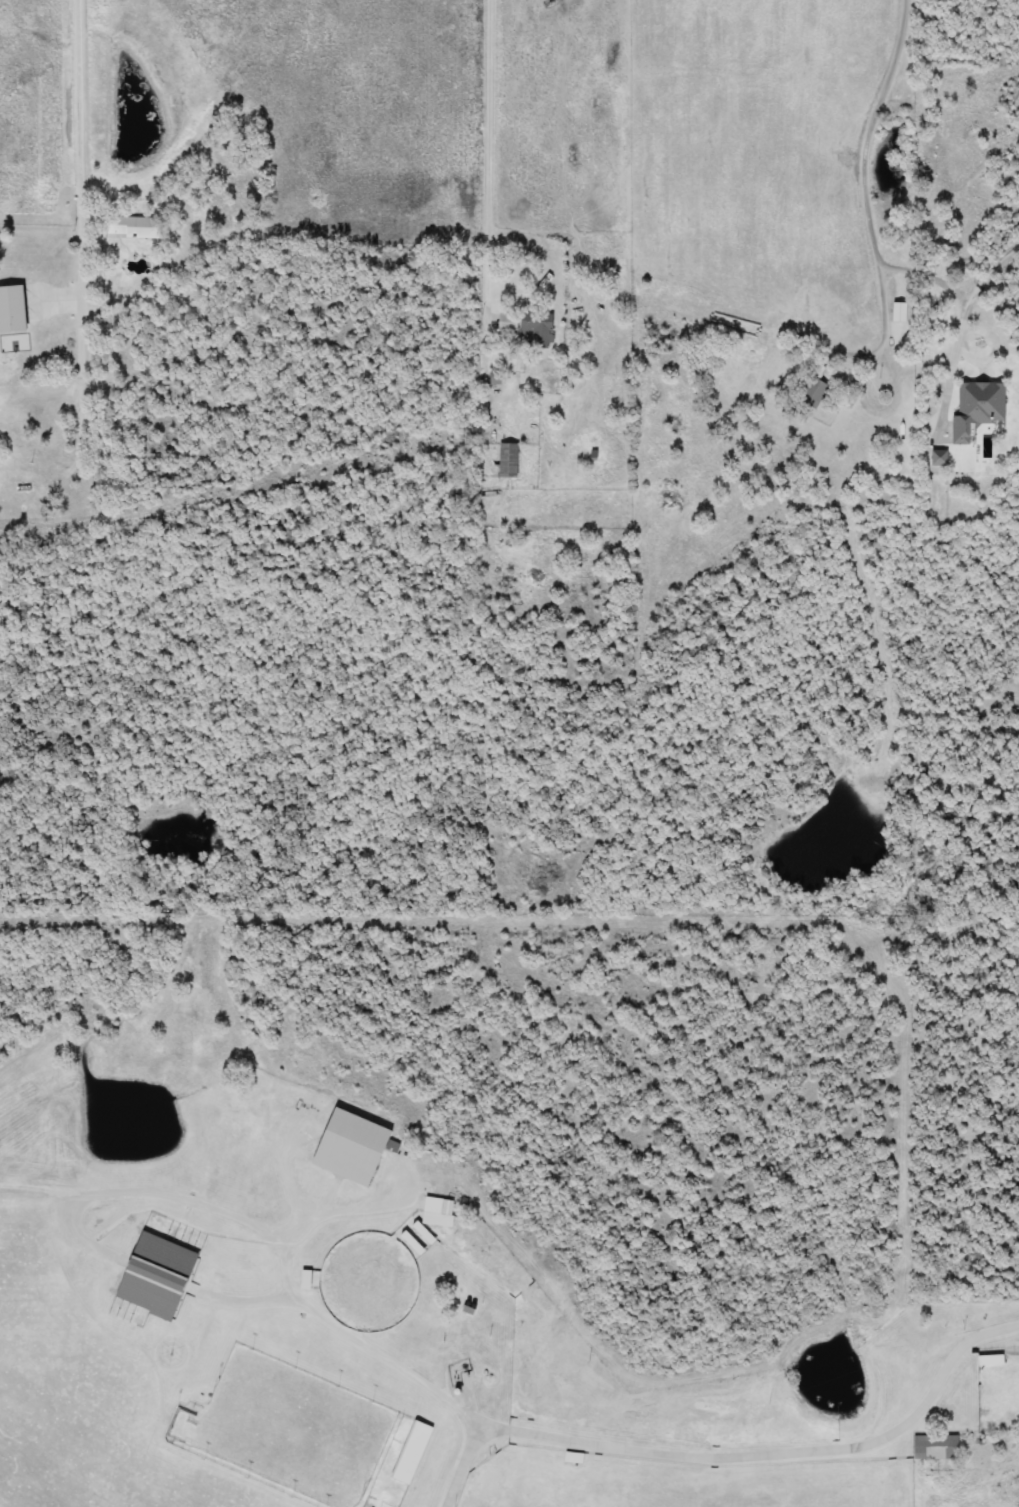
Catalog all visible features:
road: (488, 160)
road: (82, 224)
building: (131, 227)
building: (10, 310)
building: (535, 329)
building: (812, 388)
road: (890, 393)
building: (975, 407)
building: (937, 458)
building: (506, 460)
building: (346, 1147)
building: (436, 1212)
building: (153, 1275)
building: (987, 1360)
building: (933, 1446)
building: (409, 1453)
road: (733, 1454)
building: (570, 1457)

